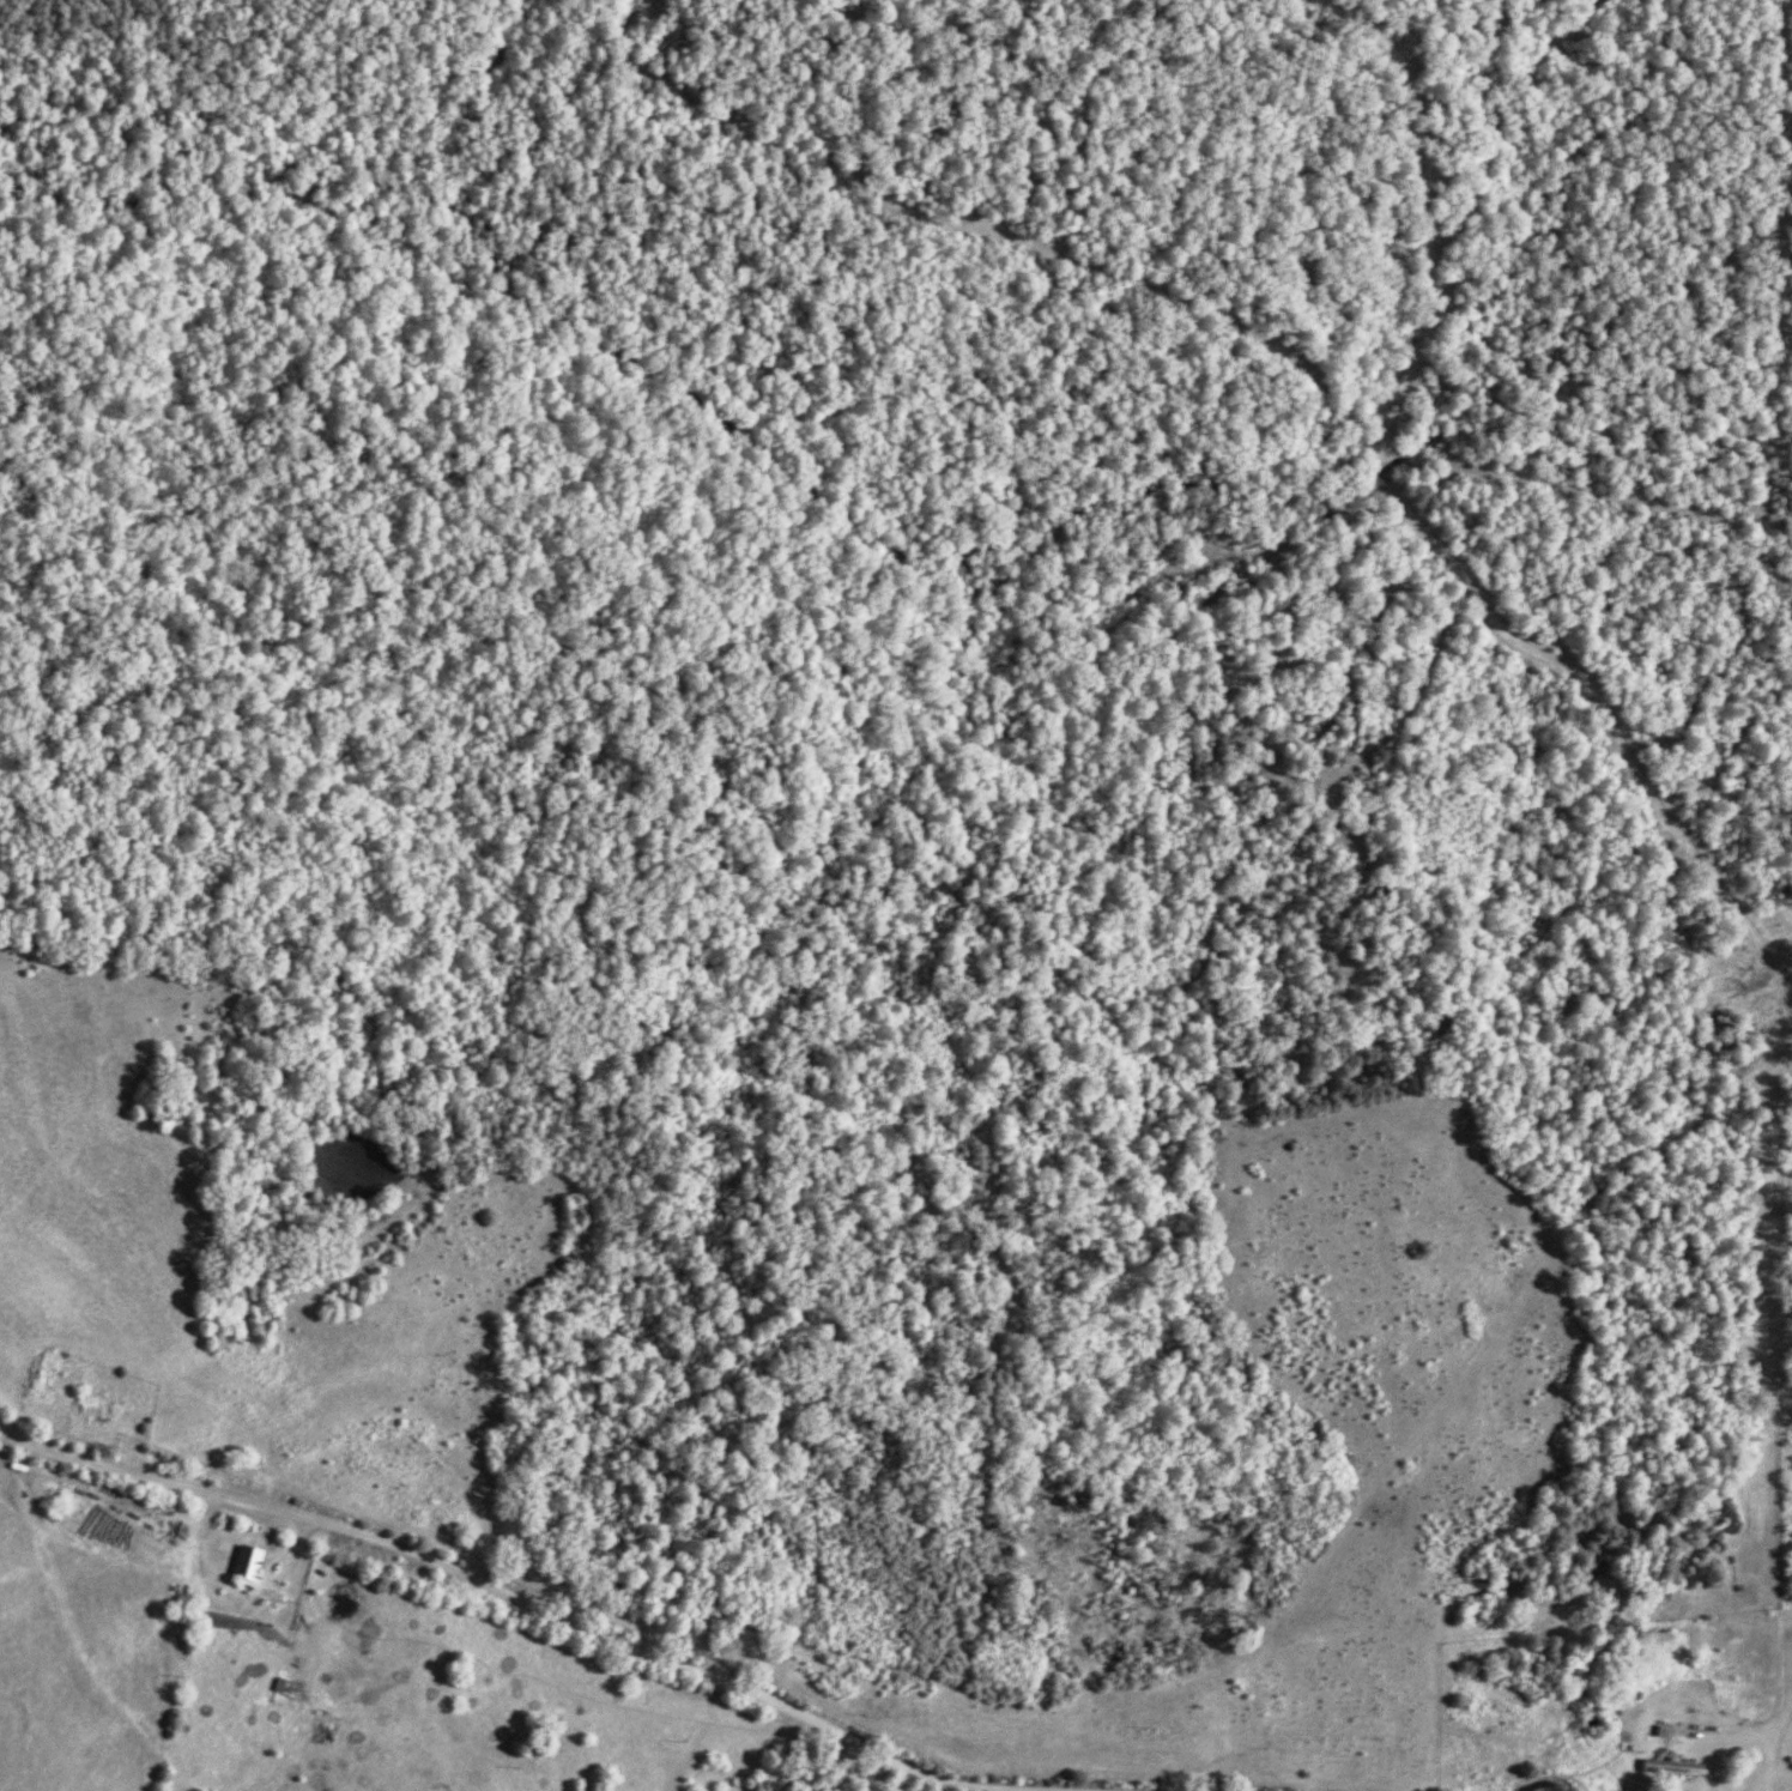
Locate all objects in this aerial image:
road: (1773, 262)
road: (1206, 314)
road: (1416, 538)
road: (364, 1531)
road: (1746, 1736)
road: (691, 1737)
road: (835, 1738)
road: (1772, 1743)
building: (1677, 1766)

